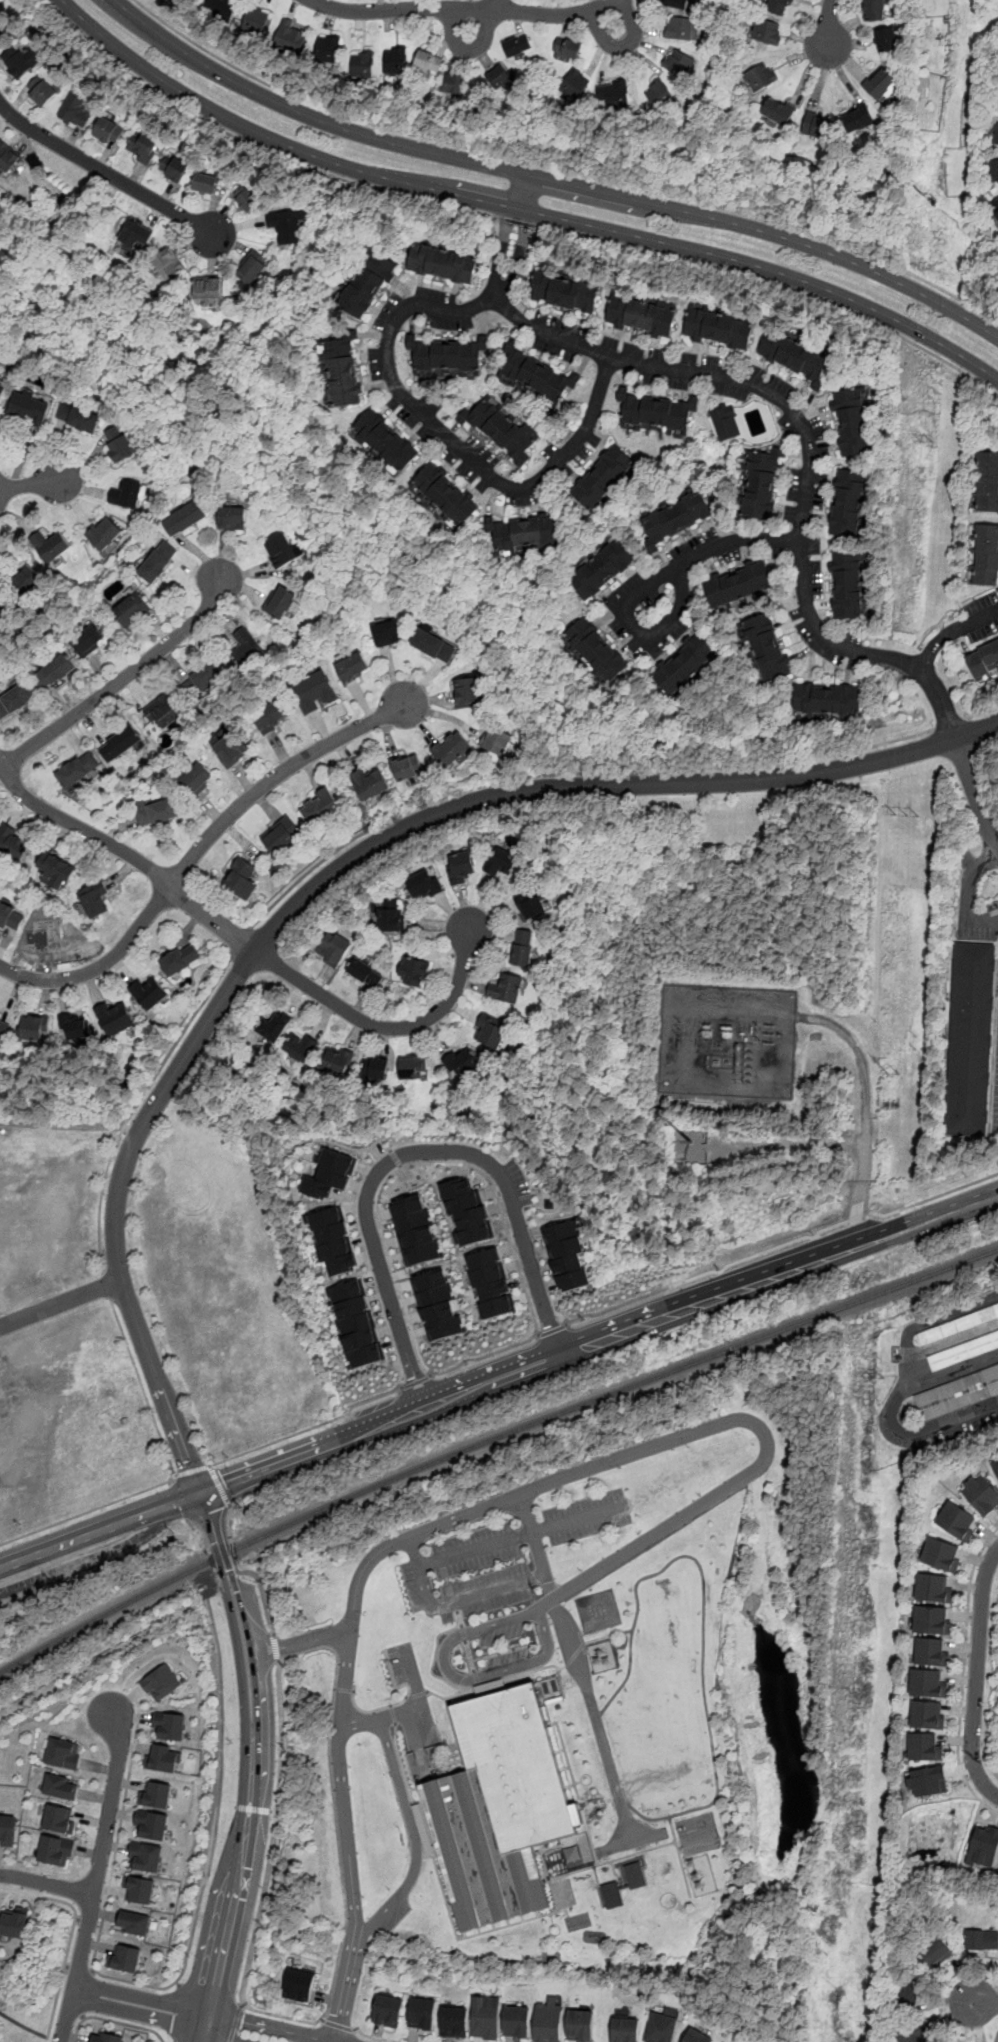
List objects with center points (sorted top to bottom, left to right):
road: (497, 4)
building: (677, 4)
building: (221, 6)
building: (778, 7)
road: (463, 8)
building: (873, 10)
building: (254, 19)
road: (828, 22)
building: (679, 27)
building: (4, 30)
building: (766, 30)
building: (290, 36)
building: (886, 39)
road: (624, 44)
building: (517, 45)
building: (567, 46)
building: (327, 47)
road: (468, 49)
building: (395, 59)
building: (20, 60)
building: (428, 61)
building: (679, 62)
building: (362, 63)
building: (497, 75)
building: (760, 76)
building: (879, 82)
building: (574, 84)
building: (454, 86)
building: (41, 91)
building: (613, 94)
building: (659, 94)
building: (75, 108)
building: (778, 110)
building: (858, 118)
building: (817, 124)
building: (108, 130)
building: (995, 135)
road: (250, 144)
building: (143, 147)
building: (6, 156)
building: (174, 167)
road: (562, 168)
building: (996, 169)
road: (106, 172)
road: (550, 179)
building: (205, 182)
building: (246, 199)
building: (994, 207)
road: (519, 209)
road: (515, 222)
building: (287, 224)
building: (135, 234)
road: (512, 234)
building: (443, 262)
building: (168, 263)
building: (252, 267)
building: (369, 282)
road: (777, 285)
building: (208, 289)
building: (565, 291)
building: (641, 313)
building: (718, 327)
building: (447, 354)
building: (796, 355)
building: (342, 370)
building: (535, 374)
building: (2, 388)
building: (27, 406)
building: (656, 411)
building: (78, 416)
building: (852, 419)
building: (725, 421)
building: (502, 427)
road: (448, 439)
building: (385, 440)
building: (119, 442)
power tower: (926, 443)
building: (603, 476)
building: (762, 482)
building: (987, 482)
road: (33, 483)
building: (126, 493)
building: (447, 495)
building: (847, 502)
road: (804, 511)
building: (233, 517)
building: (185, 518)
building: (677, 519)
building: (526, 532)
building: (105, 535)
building: (51, 547)
building: (283, 549)
building: (984, 554)
building: (159, 562)
building: (602, 569)
building: (28, 581)
road: (650, 584)
building: (847, 584)
building: (738, 585)
building: (280, 601)
building: (131, 610)
building: (6, 615)
road: (950, 631)
building: (387, 632)
building: (89, 640)
building: (434, 644)
building: (246, 647)
building: (767, 648)
building: (596, 650)
building: (983, 660)
building: (686, 666)
building: (353, 667)
building: (55, 672)
road: (121, 678)
building: (203, 678)
building: (316, 692)
building: (466, 692)
building: (828, 699)
building: (15, 700)
building: (163, 711)
road: (981, 711)
building: (272, 718)
road: (949, 723)
building: (499, 742)
building: (120, 743)
building: (451, 748)
building: (232, 749)
building: (407, 767)
road: (570, 768)
building: (79, 770)
building: (197, 780)
building: (371, 783)
building: (320, 806)
building: (158, 812)
power tower: (907, 815)
building: (281, 834)
building: (14, 843)
road: (199, 849)
road: (129, 853)
building: (501, 860)
building: (460, 867)
building: (56, 871)
road: (327, 876)
building: (241, 878)
building: (425, 884)
road: (970, 890)
building: (95, 900)
building: (530, 903)
building: (391, 915)
building: (11, 916)
road: (241, 940)
building: (521, 946)
building: (333, 948)
building: (181, 959)
building: (413, 971)
building: (366, 973)
building: (506, 988)
building: (149, 992)
building: (115, 1017)
building: (274, 1025)
building: (76, 1026)
building: (33, 1027)
road: (384, 1027)
building: (4, 1028)
power tower: (680, 1030)
building: (490, 1031)
power tower: (769, 1034)
building: (970, 1039)
power tower: (897, 1040)
power substation: (727, 1043)
building: (301, 1046)
building: (336, 1059)
building: (462, 1062)
building: (412, 1066)
building: (375, 1068)
power tower: (895, 1074)
road: (137, 1102)
power tower: (894, 1106)
road: (864, 1117)
building: (692, 1143)
road: (412, 1152)
building: (330, 1174)
road: (943, 1193)
road: (378, 1202)
building: (467, 1211)
building: (416, 1229)
building: (333, 1239)
building: (567, 1255)
building: (490, 1283)
road: (107, 1285)
road: (59, 1303)
building: (438, 1304)
road: (624, 1304)
road: (712, 1305)
building: (355, 1323)
building: (958, 1324)
road: (553, 1329)
building: (964, 1351)
road: (431, 1373)
power tower: (876, 1378)
road: (416, 1381)
building: (958, 1393)
road: (308, 1428)
railway: (490, 1441)
building: (996, 1465)
road: (193, 1470)
road: (174, 1474)
road: (171, 1475)
road: (219, 1485)
road: (213, 1488)
building: (981, 1494)
road: (474, 1509)
building: (956, 1520)
road: (518, 1534)
building: (941, 1555)
road: (246, 1573)
building: (933, 1589)
road: (453, 1601)
building: (931, 1620)
road: (298, 1641)
road: (275, 1647)
building: (931, 1652)
road: (576, 1661)
road: (963, 1673)
road: (976, 1675)
road: (457, 1678)
building: (160, 1682)
building: (927, 1683)
power tower: (859, 1699)
building: (927, 1714)
road: (375, 1719)
building: (168, 1725)
building: (925, 1746)
building: (61, 1754)
building: (162, 1757)
road: (251, 1766)
building: (927, 1780)
building: (59, 1785)
building: (155, 1793)
road: (227, 1806)
building: (499, 1807)
road: (253, 1808)
road: (333, 1808)
road: (274, 1811)
building: (57, 1818)
building: (152, 1823)
building: (7, 1830)
road: (274, 1834)
road: (413, 1837)
building: (983, 1845)
building: (55, 1851)
building: (145, 1857)
building: (635, 1874)
road: (96, 1879)
road: (47, 1885)
building: (138, 1890)
building: (612, 1894)
road: (77, 1918)
building: (15, 1921)
road: (90, 1921)
building: (133, 1922)
road: (71, 1934)
building: (982, 1939)
building: (936, 1952)
building: (125, 1958)
road: (67, 1966)
road: (80, 1969)
road: (93, 1970)
road: (182, 1973)
road: (178, 1983)
building: (299, 1986)
building: (907, 1993)
road: (982, 2003)
building: (387, 2010)
road: (180, 2013)
building: (421, 2013)
road: (179, 2015)
road: (281, 2016)
building: (486, 2017)
road: (113, 2020)
building: (454, 2021)
building: (517, 2021)
building: (549, 2021)
road: (235, 2024)
road: (23, 2025)
road: (337, 2025)
building: (580, 2025)
building: (663, 2026)
building: (625, 2029)
building: (912, 2033)
building: (698, 2036)
building: (105, 2037)
road: (373, 2037)

